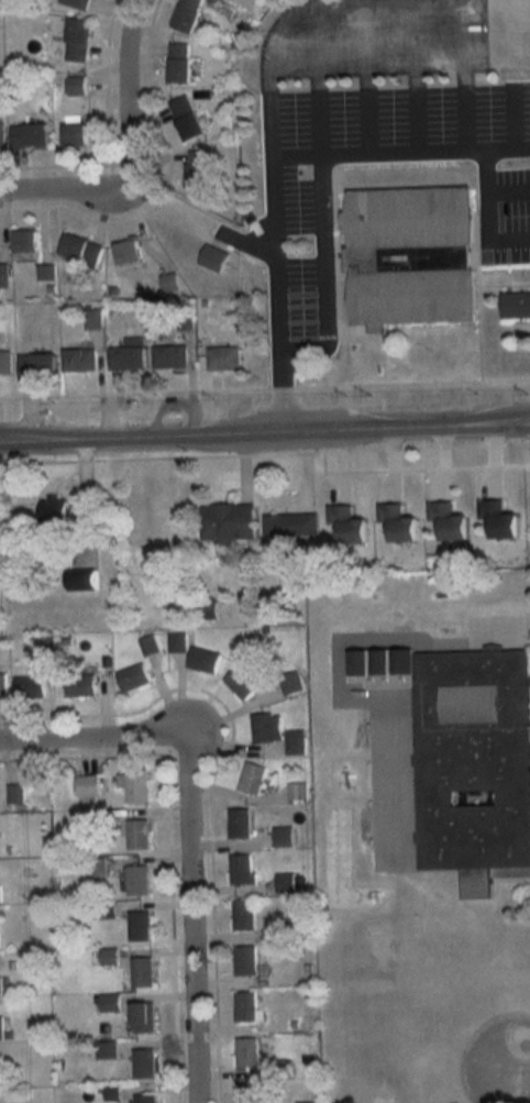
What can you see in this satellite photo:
building: (79, 4)
building: (184, 14)
building: (77, 40)
road: (267, 64)
building: (177, 68)
building: (76, 85)
road: (125, 90)
building: (186, 117)
building: (2, 134)
building: (75, 134)
building: (29, 135)
road: (498, 150)
road: (368, 153)
building: (199, 174)
road: (63, 192)
building: (24, 236)
building: (79, 244)
building: (126, 247)
building: (409, 255)
building: (213, 256)
building: (45, 268)
building: (3, 273)
building: (515, 302)
building: (92, 316)
building: (126, 352)
building: (168, 355)
building: (224, 357)
building: (76, 359)
building: (4, 361)
building: (34, 362)
road: (265, 435)
building: (56, 510)
building: (500, 519)
building: (450, 520)
building: (399, 521)
building: (228, 522)
building: (349, 522)
building: (291, 525)
building: (84, 582)
building: (208, 609)
building: (177, 641)
building: (150, 646)
building: (205, 660)
building: (133, 677)
building: (2, 682)
building: (242, 682)
building: (291, 682)
building: (80, 684)
building: (30, 686)
building: (267, 727)
road: (89, 739)
building: (296, 741)
building: (465, 754)
building: (253, 777)
building: (88, 785)
building: (134, 787)
building: (298, 792)
building: (14, 793)
building: (240, 823)
building: (139, 834)
building: (284, 836)
building: (96, 867)
building: (242, 869)
building: (139, 880)
building: (285, 882)
building: (244, 914)
road: (189, 923)
building: (140, 925)
building: (245, 960)
building: (143, 971)
building: (0, 985)
building: (245, 1006)
park: (378, 1014)
building: (143, 1017)
building: (1, 1027)
building: (246, 1052)
building: (144, 1063)
building: (251, 1093)
building: (145, 1099)

